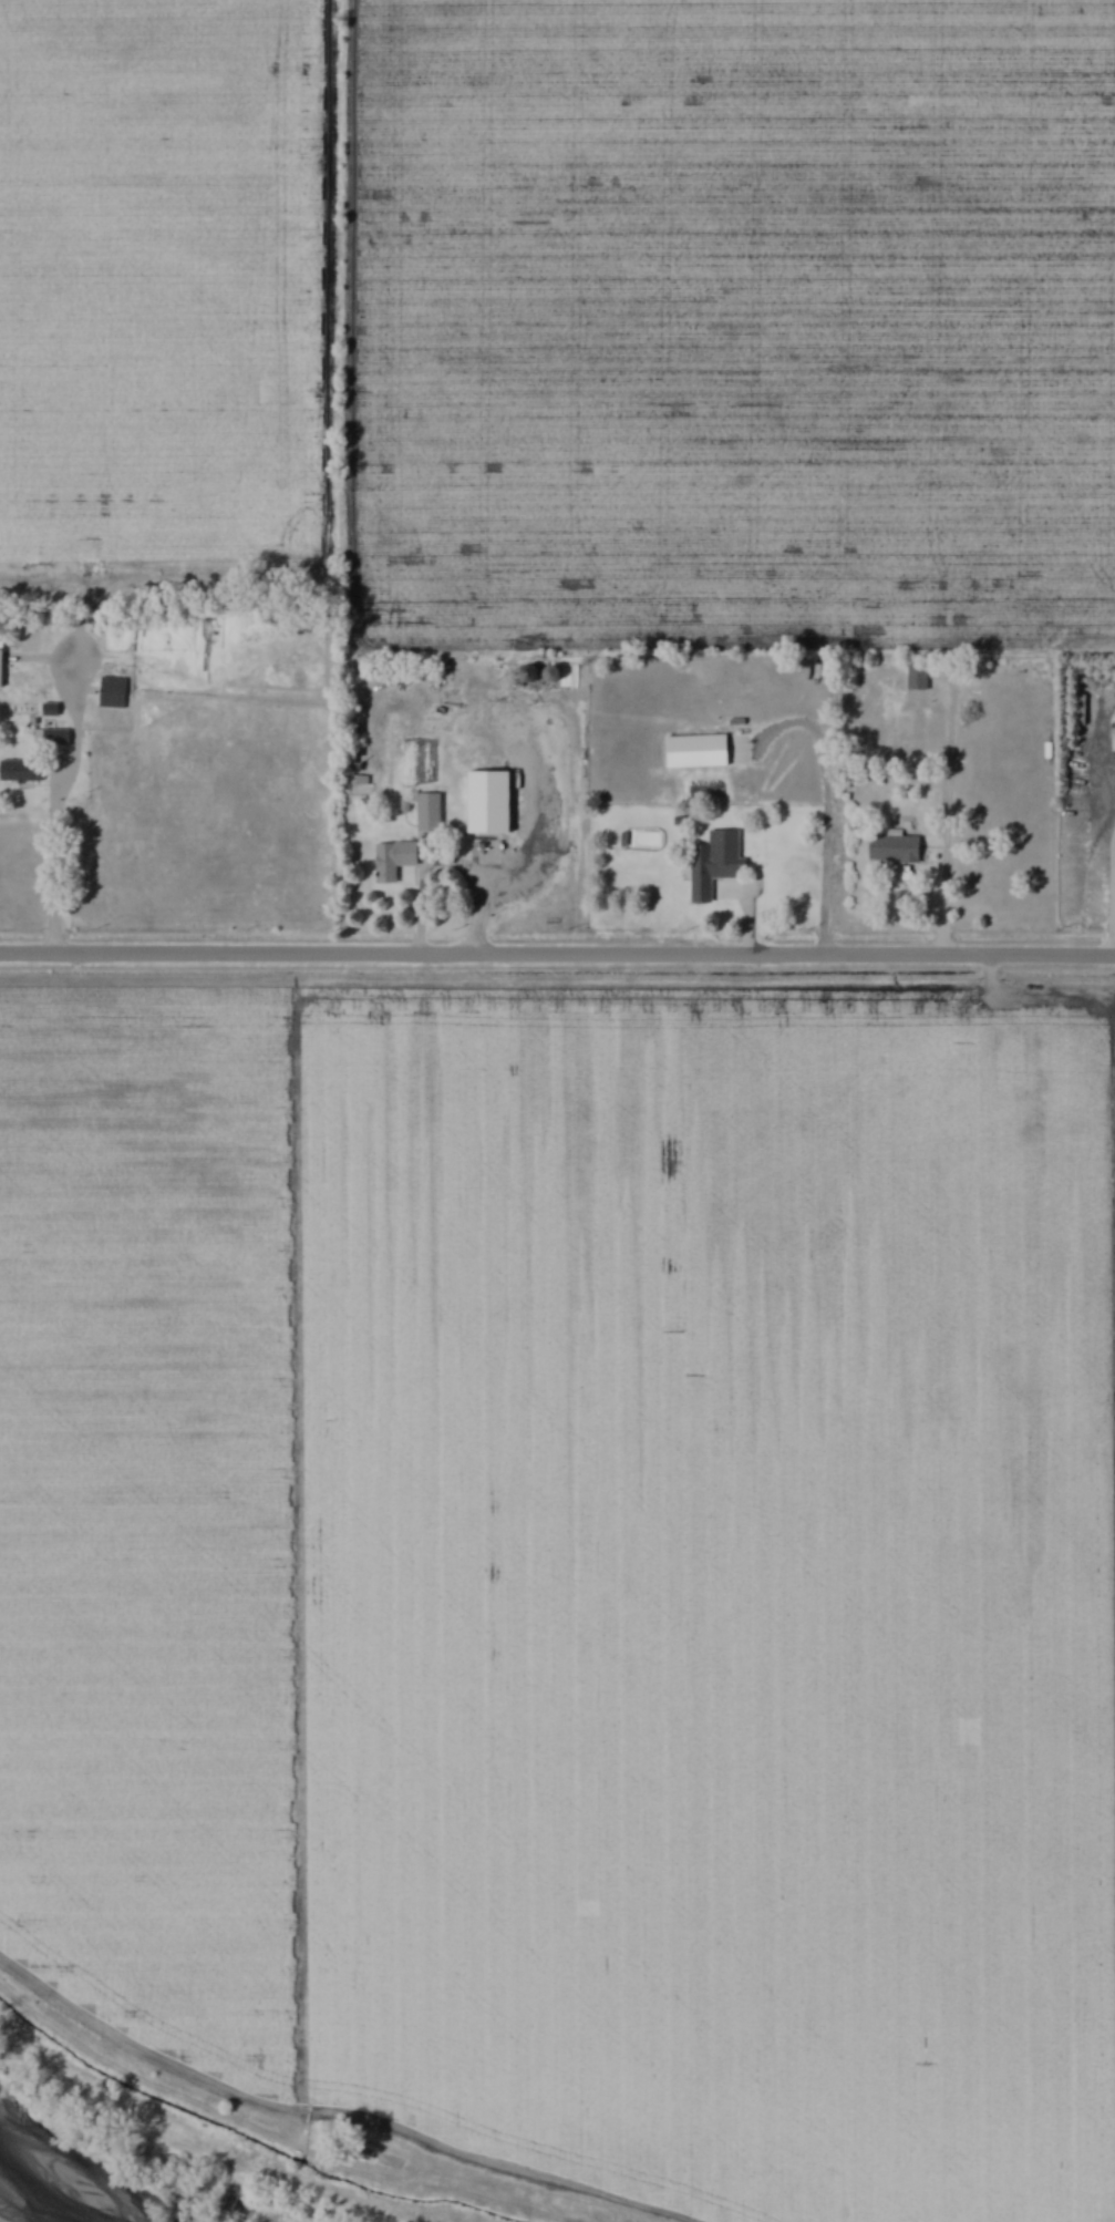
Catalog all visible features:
crop: (162, 276)
crop: (742, 313)
building: (530, 675)
building: (918, 678)
building: (113, 693)
building: (55, 737)
building: (17, 770)
building: (491, 803)
building: (430, 812)
building: (895, 847)
road: (54, 854)
building: (394, 861)
building: (715, 863)
road: (444, 864)
road: (557, 957)
crop: (147, 1511)
crop: (720, 1594)
river: (29, 2199)

